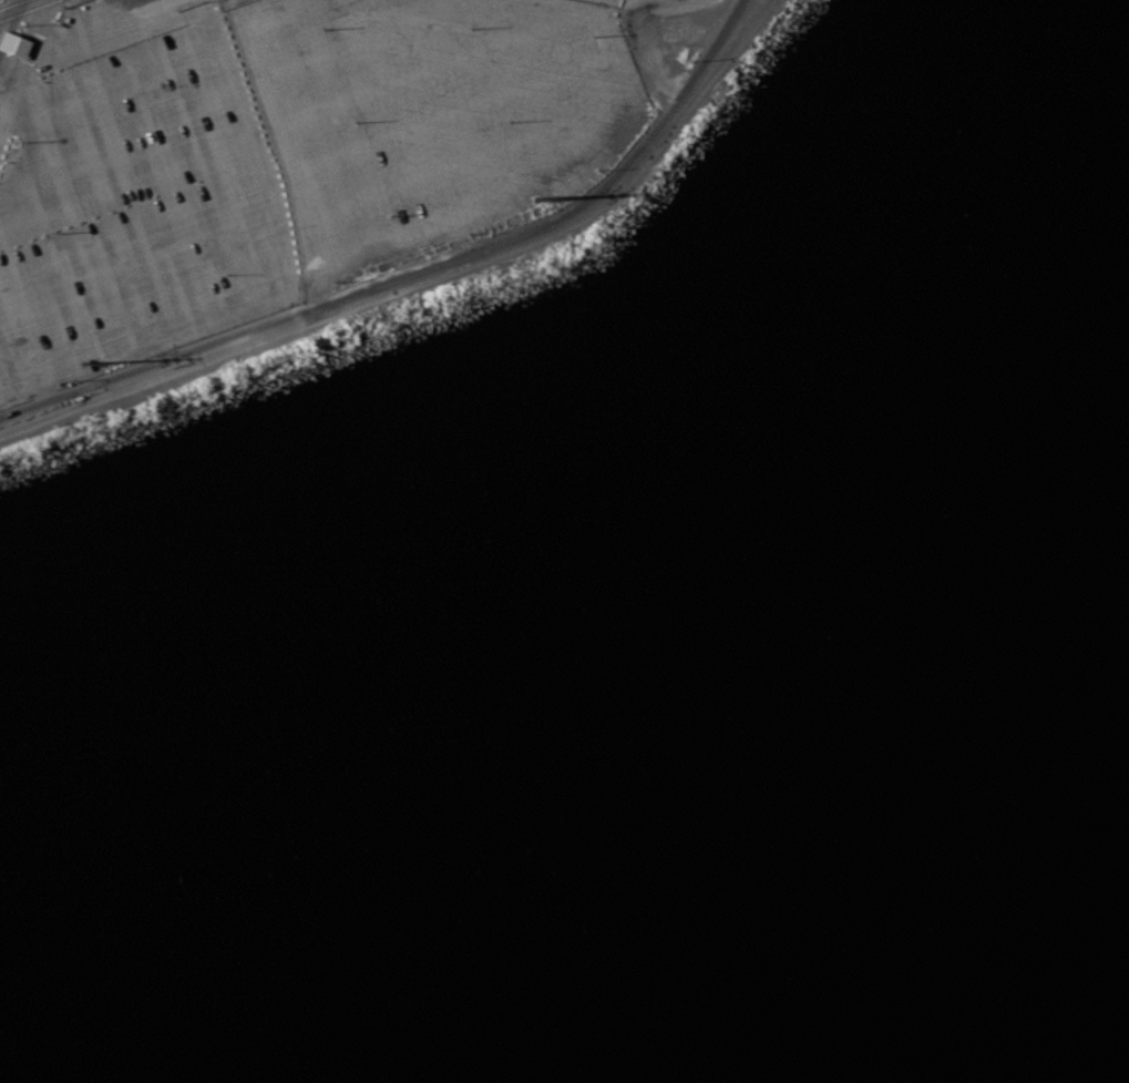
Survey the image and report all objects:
railway: (10, 3)
railway: (28, 9)
road: (8, 21)
road: (22, 55)
road: (8, 65)
road: (501, 249)
road: (73, 389)
road: (76, 407)

